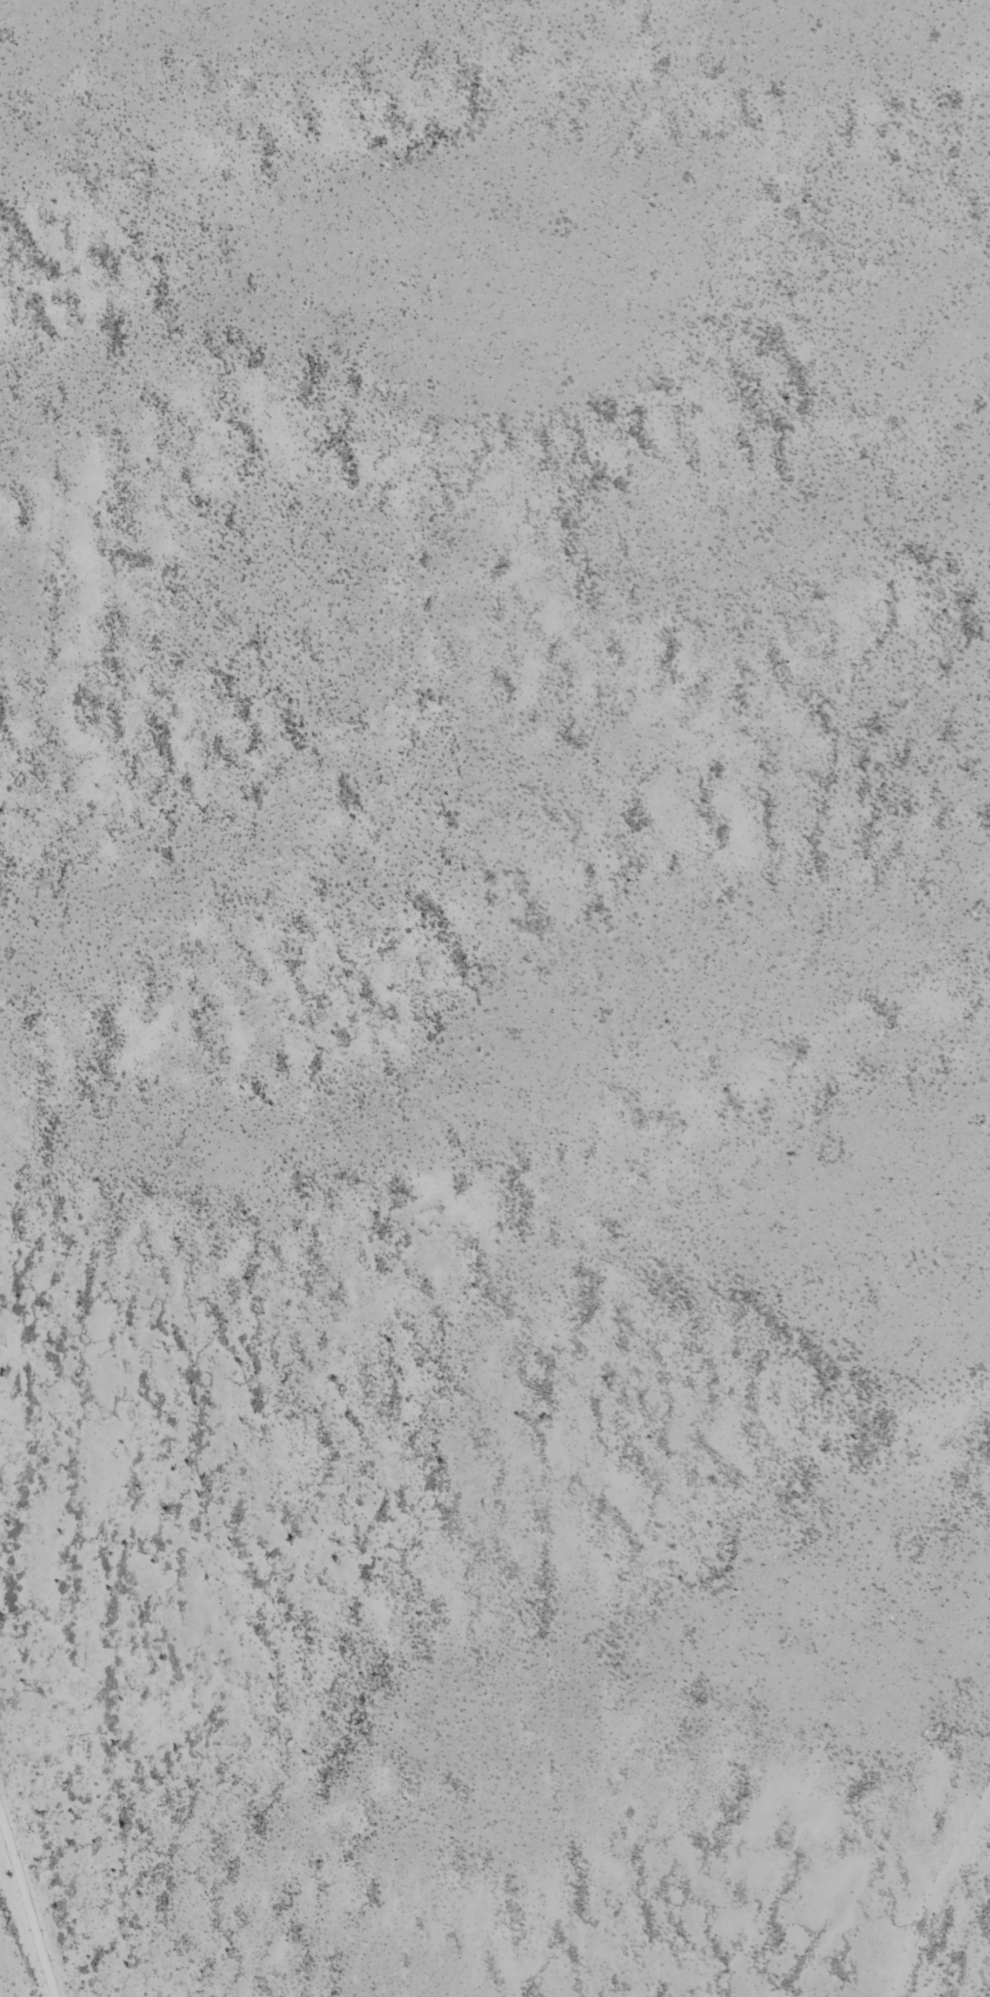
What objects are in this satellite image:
road: (921, 1842)
road: (33, 1903)

